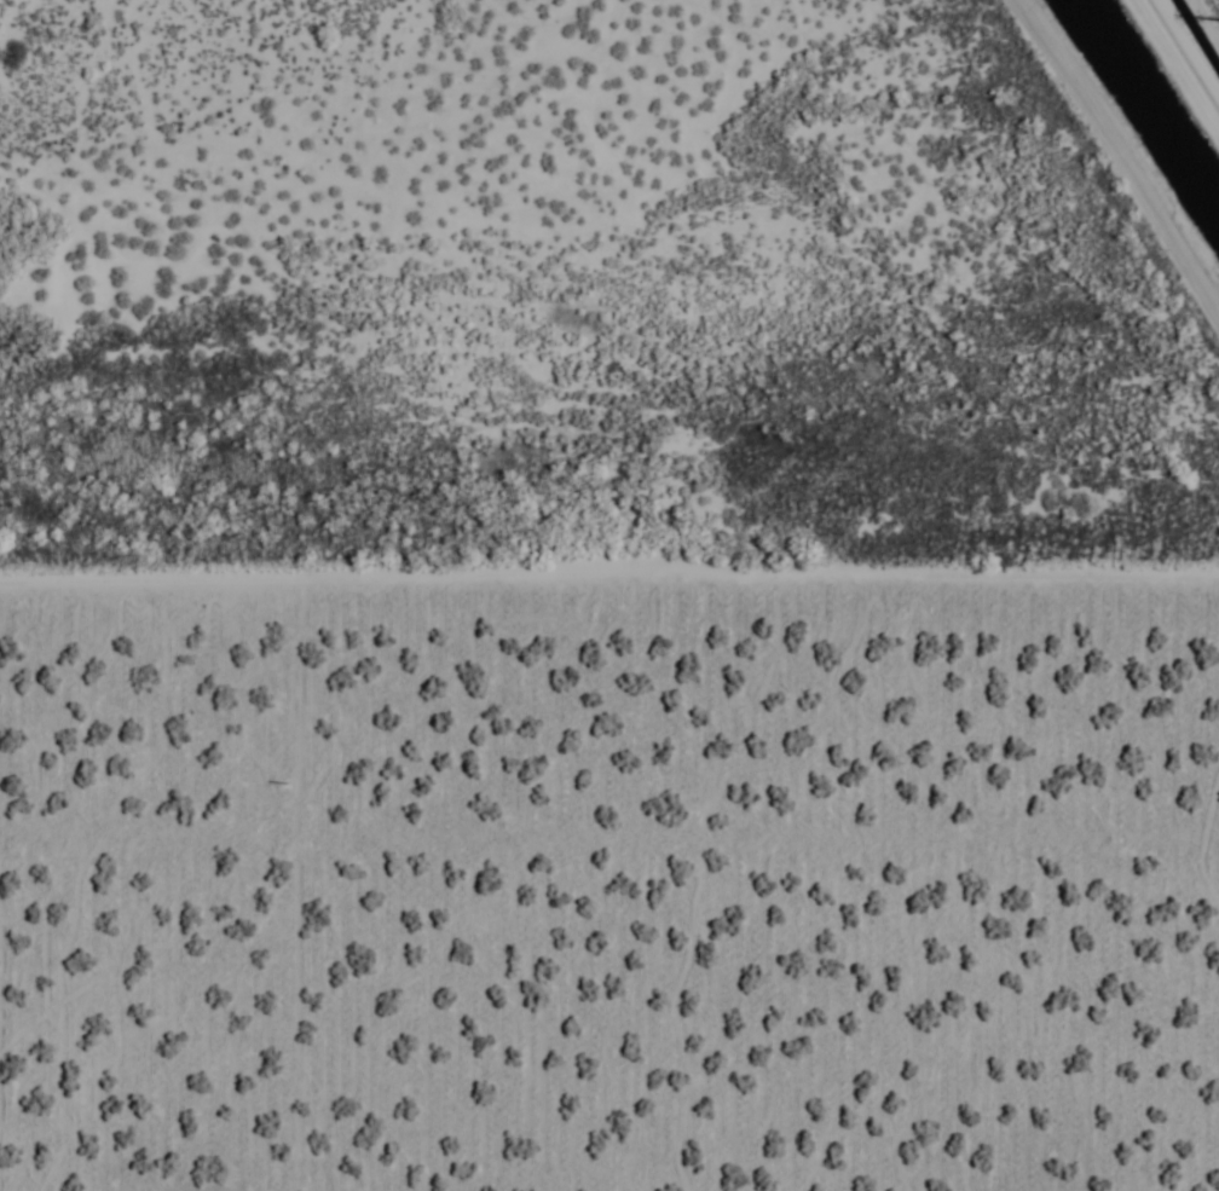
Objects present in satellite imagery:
road: (1180, 59)

